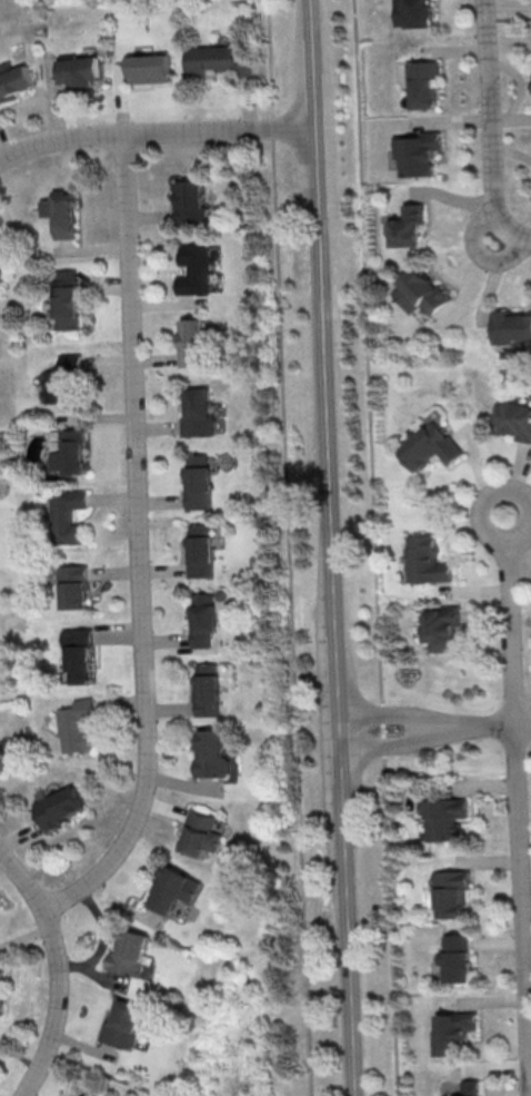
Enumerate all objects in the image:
building: (413, 13)
road: (509, 18)
park: (513, 28)
building: (217, 60)
building: (150, 67)
building: (80, 69)
building: (421, 81)
building: (14, 82)
road: (490, 128)
road: (154, 130)
building: (415, 152)
building: (189, 203)
building: (62, 213)
building: (407, 225)
building: (4, 248)
road: (475, 248)
building: (196, 268)
building: (421, 289)
building: (66, 299)
building: (510, 326)
building: (190, 342)
building: (62, 377)
building: (198, 413)
building: (514, 418)
building: (427, 447)
building: (70, 451)
road: (328, 467)
building: (199, 480)
building: (67, 516)
road: (288, 542)
road: (140, 543)
road: (373, 547)
building: (201, 550)
building: (427, 560)
building: (74, 585)
building: (203, 618)
road: (510, 620)
building: (442, 625)
building: (79, 653)
building: (0, 661)
building: (208, 689)
building: (77, 724)
road: (478, 725)
road: (424, 728)
building: (214, 753)
building: (3, 759)
building: (59, 807)
building: (443, 817)
building: (201, 832)
building: (172, 888)
building: (451, 891)
road: (520, 910)
building: (129, 951)
building: (455, 958)
road: (58, 971)
building: (1, 990)
road: (350, 1016)
building: (123, 1024)
building: (452, 1031)
road: (76, 1064)
building: (468, 1088)
building: (83, 1095)
building: (86, 1095)

